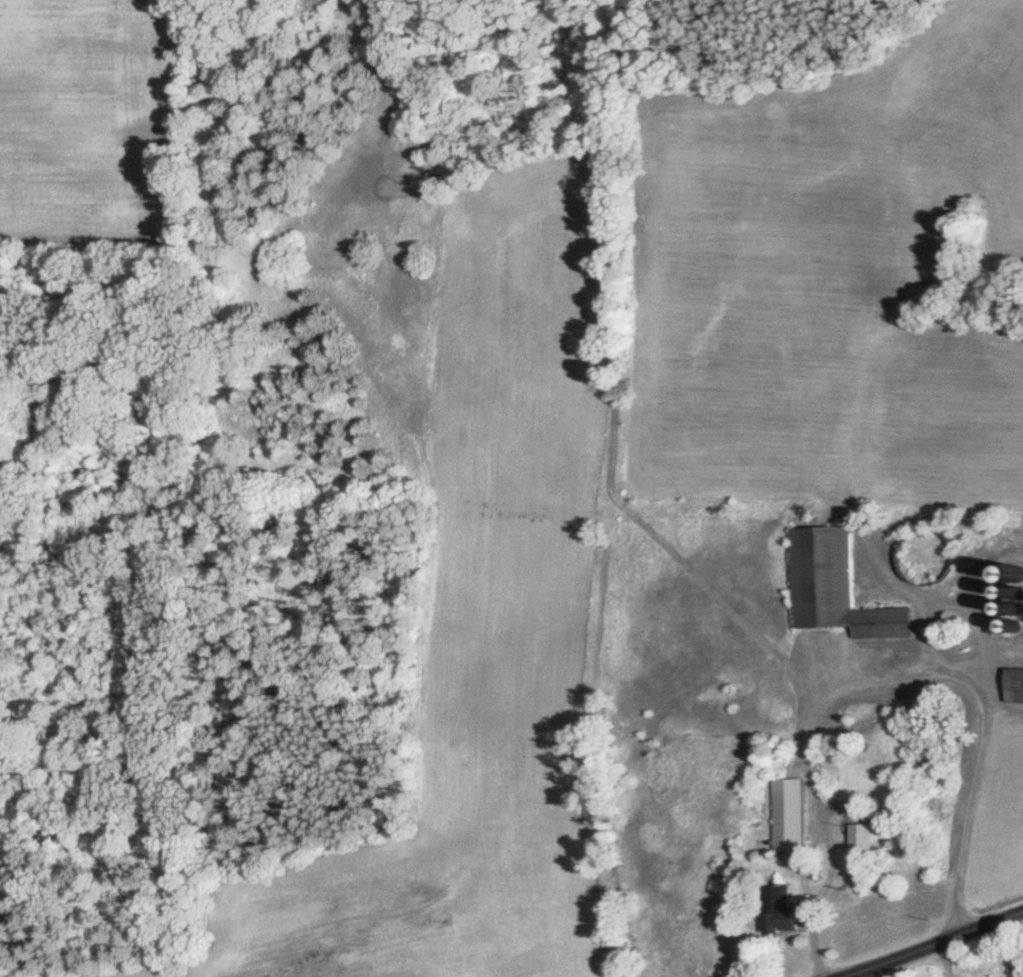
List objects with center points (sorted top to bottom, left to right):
building: (835, 587)
road: (923, 599)
building: (1007, 604)
road: (887, 684)
building: (1014, 686)
building: (786, 814)
building: (859, 837)
building: (780, 910)
road: (947, 947)

